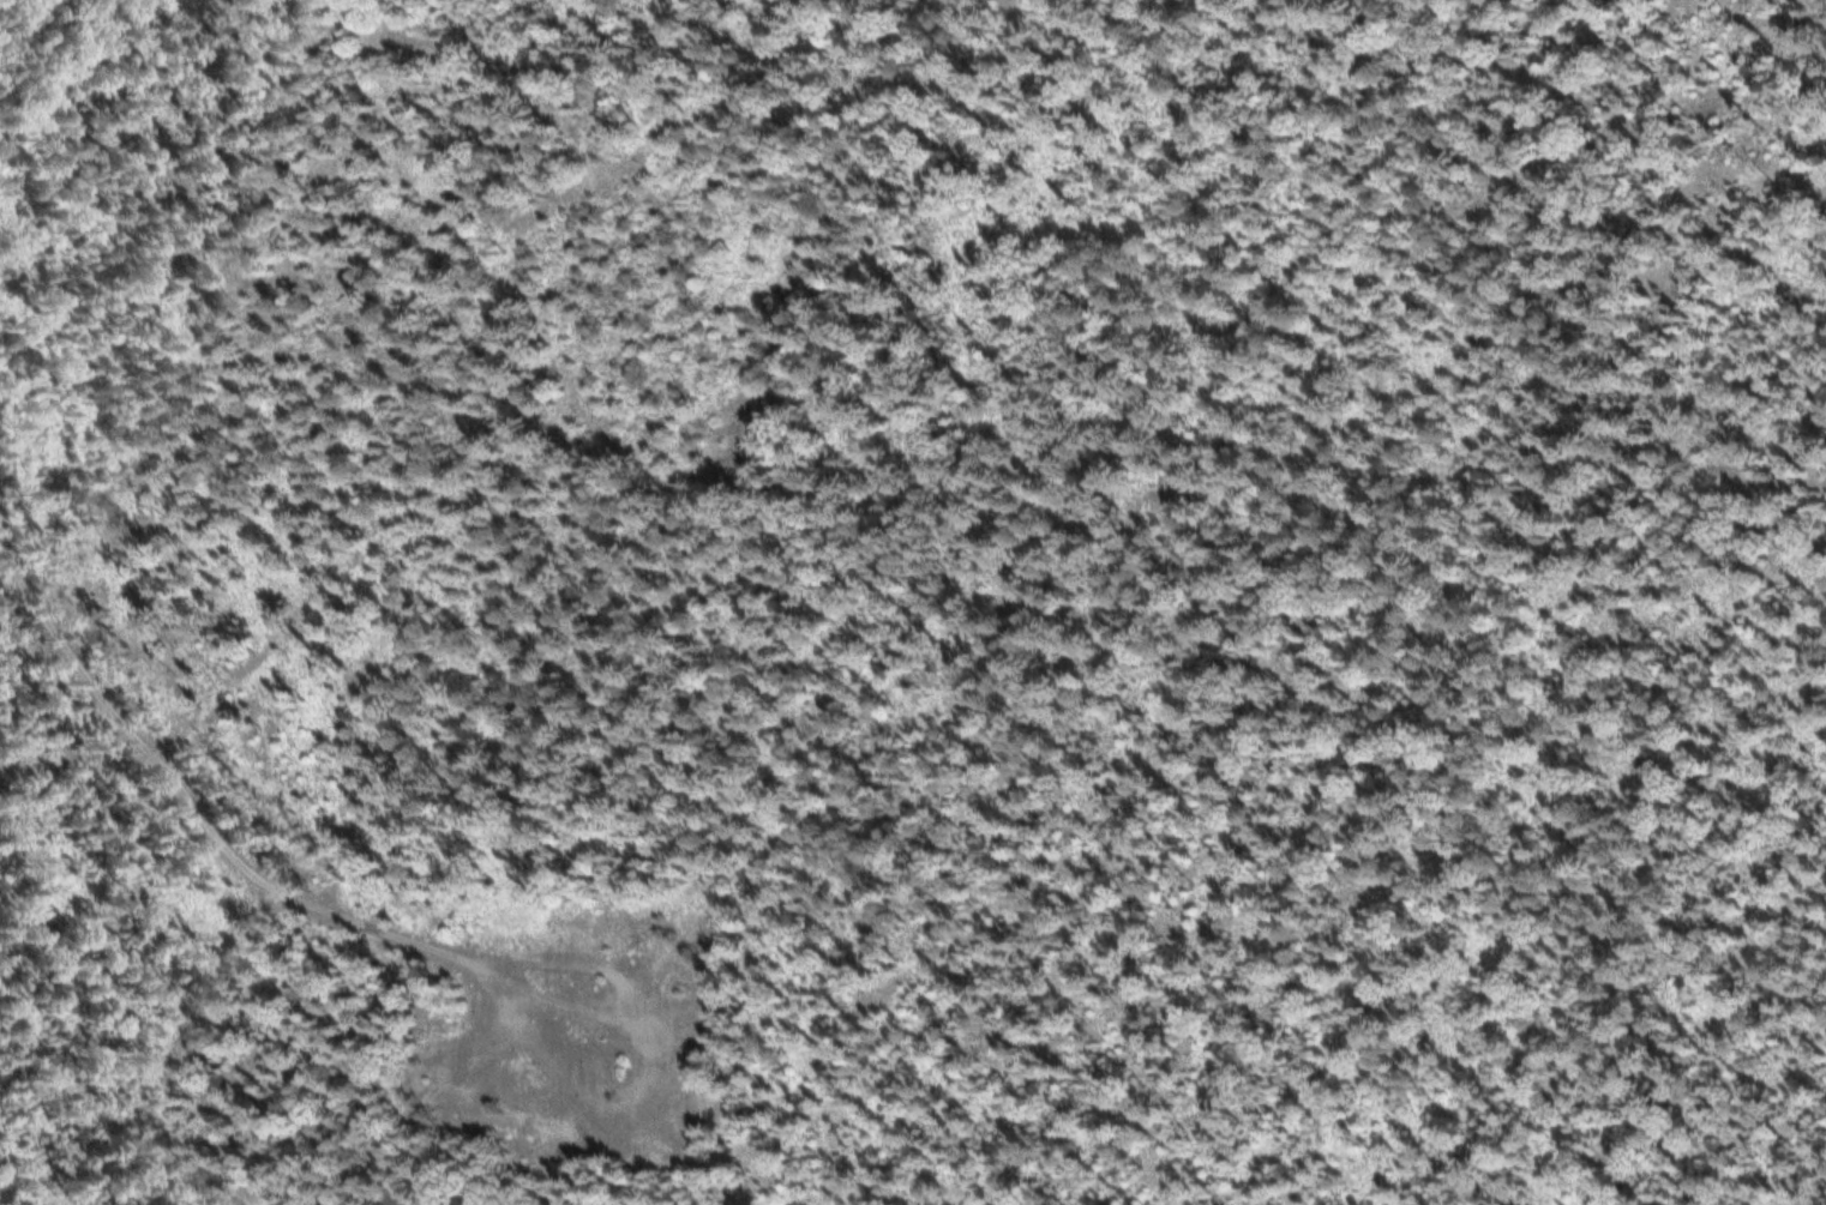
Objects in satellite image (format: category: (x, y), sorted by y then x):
road: (90, 60)
road: (1086, 582)
road: (182, 799)

